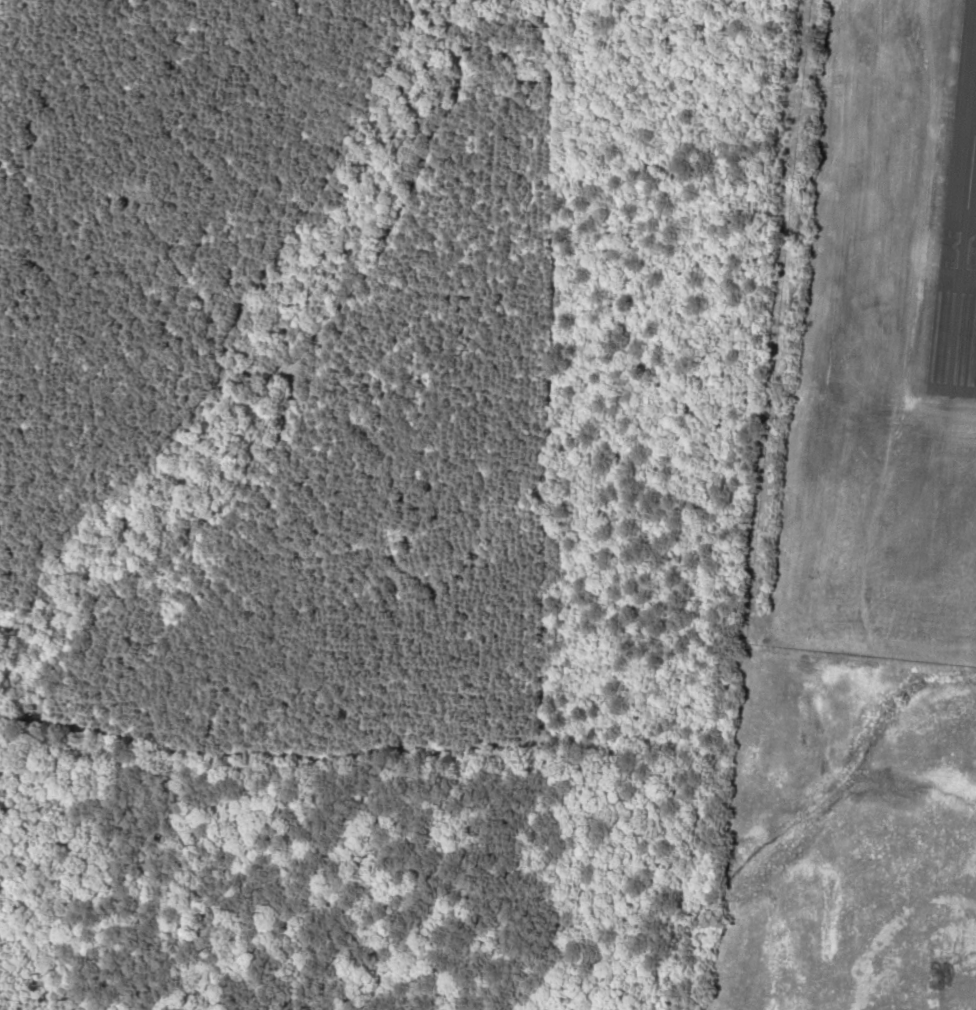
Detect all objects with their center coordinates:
airport taxiway: (969, 227)
airport runway: (961, 247)
airport taxiway: (962, 383)

